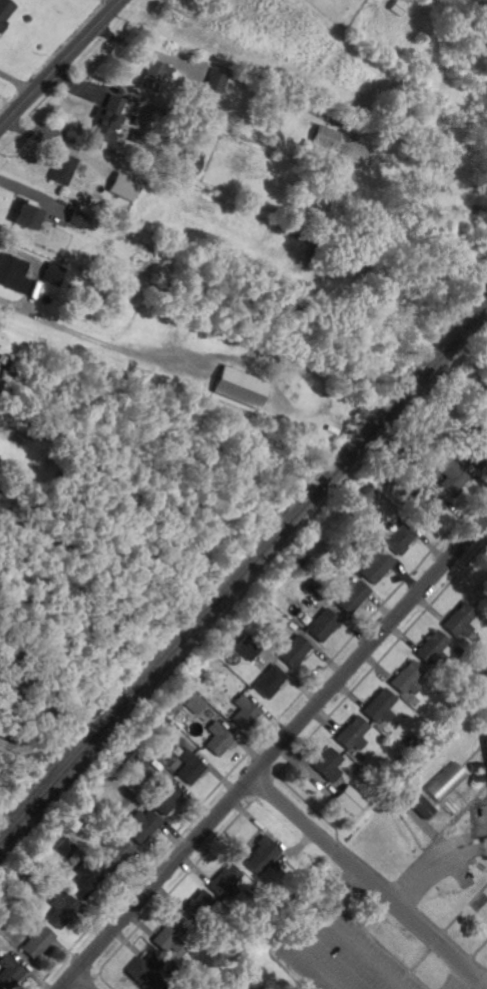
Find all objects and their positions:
road: (120, 0)
building: (397, 8)
building: (5, 12)
road: (61, 65)
building: (156, 75)
building: (218, 80)
building: (485, 85)
building: (111, 118)
building: (139, 135)
building: (327, 137)
building: (192, 163)
building: (63, 168)
building: (125, 187)
building: (474, 188)
road: (30, 198)
building: (137, 214)
building: (28, 217)
building: (81, 218)
road: (37, 268)
building: (9, 269)
building: (56, 274)
building: (12, 371)
building: (242, 387)
building: (485, 394)
building: (333, 429)
building: (406, 448)
building: (479, 450)
building: (454, 477)
building: (427, 507)
building: (403, 539)
building: (378, 565)
railway: (243, 575)
building: (355, 595)
building: (462, 620)
building: (326, 624)
building: (237, 632)
building: (275, 632)
building: (265, 638)
building: (251, 647)
building: (435, 648)
building: (296, 649)
building: (461, 651)
building: (410, 678)
building: (272, 681)
building: (198, 703)
building: (384, 707)
building: (248, 712)
building: (171, 734)
building: (354, 734)
building: (221, 738)
building: (486, 738)
building: (414, 744)
road: (275, 754)
building: (140, 760)
building: (331, 764)
building: (477, 766)
building: (193, 767)
building: (479, 778)
building: (447, 781)
building: (167, 797)
building: (351, 800)
building: (137, 801)
building: (80, 802)
building: (421, 804)
road: (298, 813)
building: (146, 826)
building: (68, 847)
building: (118, 853)
building: (265, 854)
parking lot: (431, 857)
building: (305, 876)
building: (49, 879)
building: (86, 880)
building: (227, 882)
building: (203, 906)
building: (63, 909)
road: (413, 917)
building: (173, 935)
building: (40, 940)
parking lot: (346, 953)
building: (11, 970)
building: (148, 973)
road: (83, 981)

